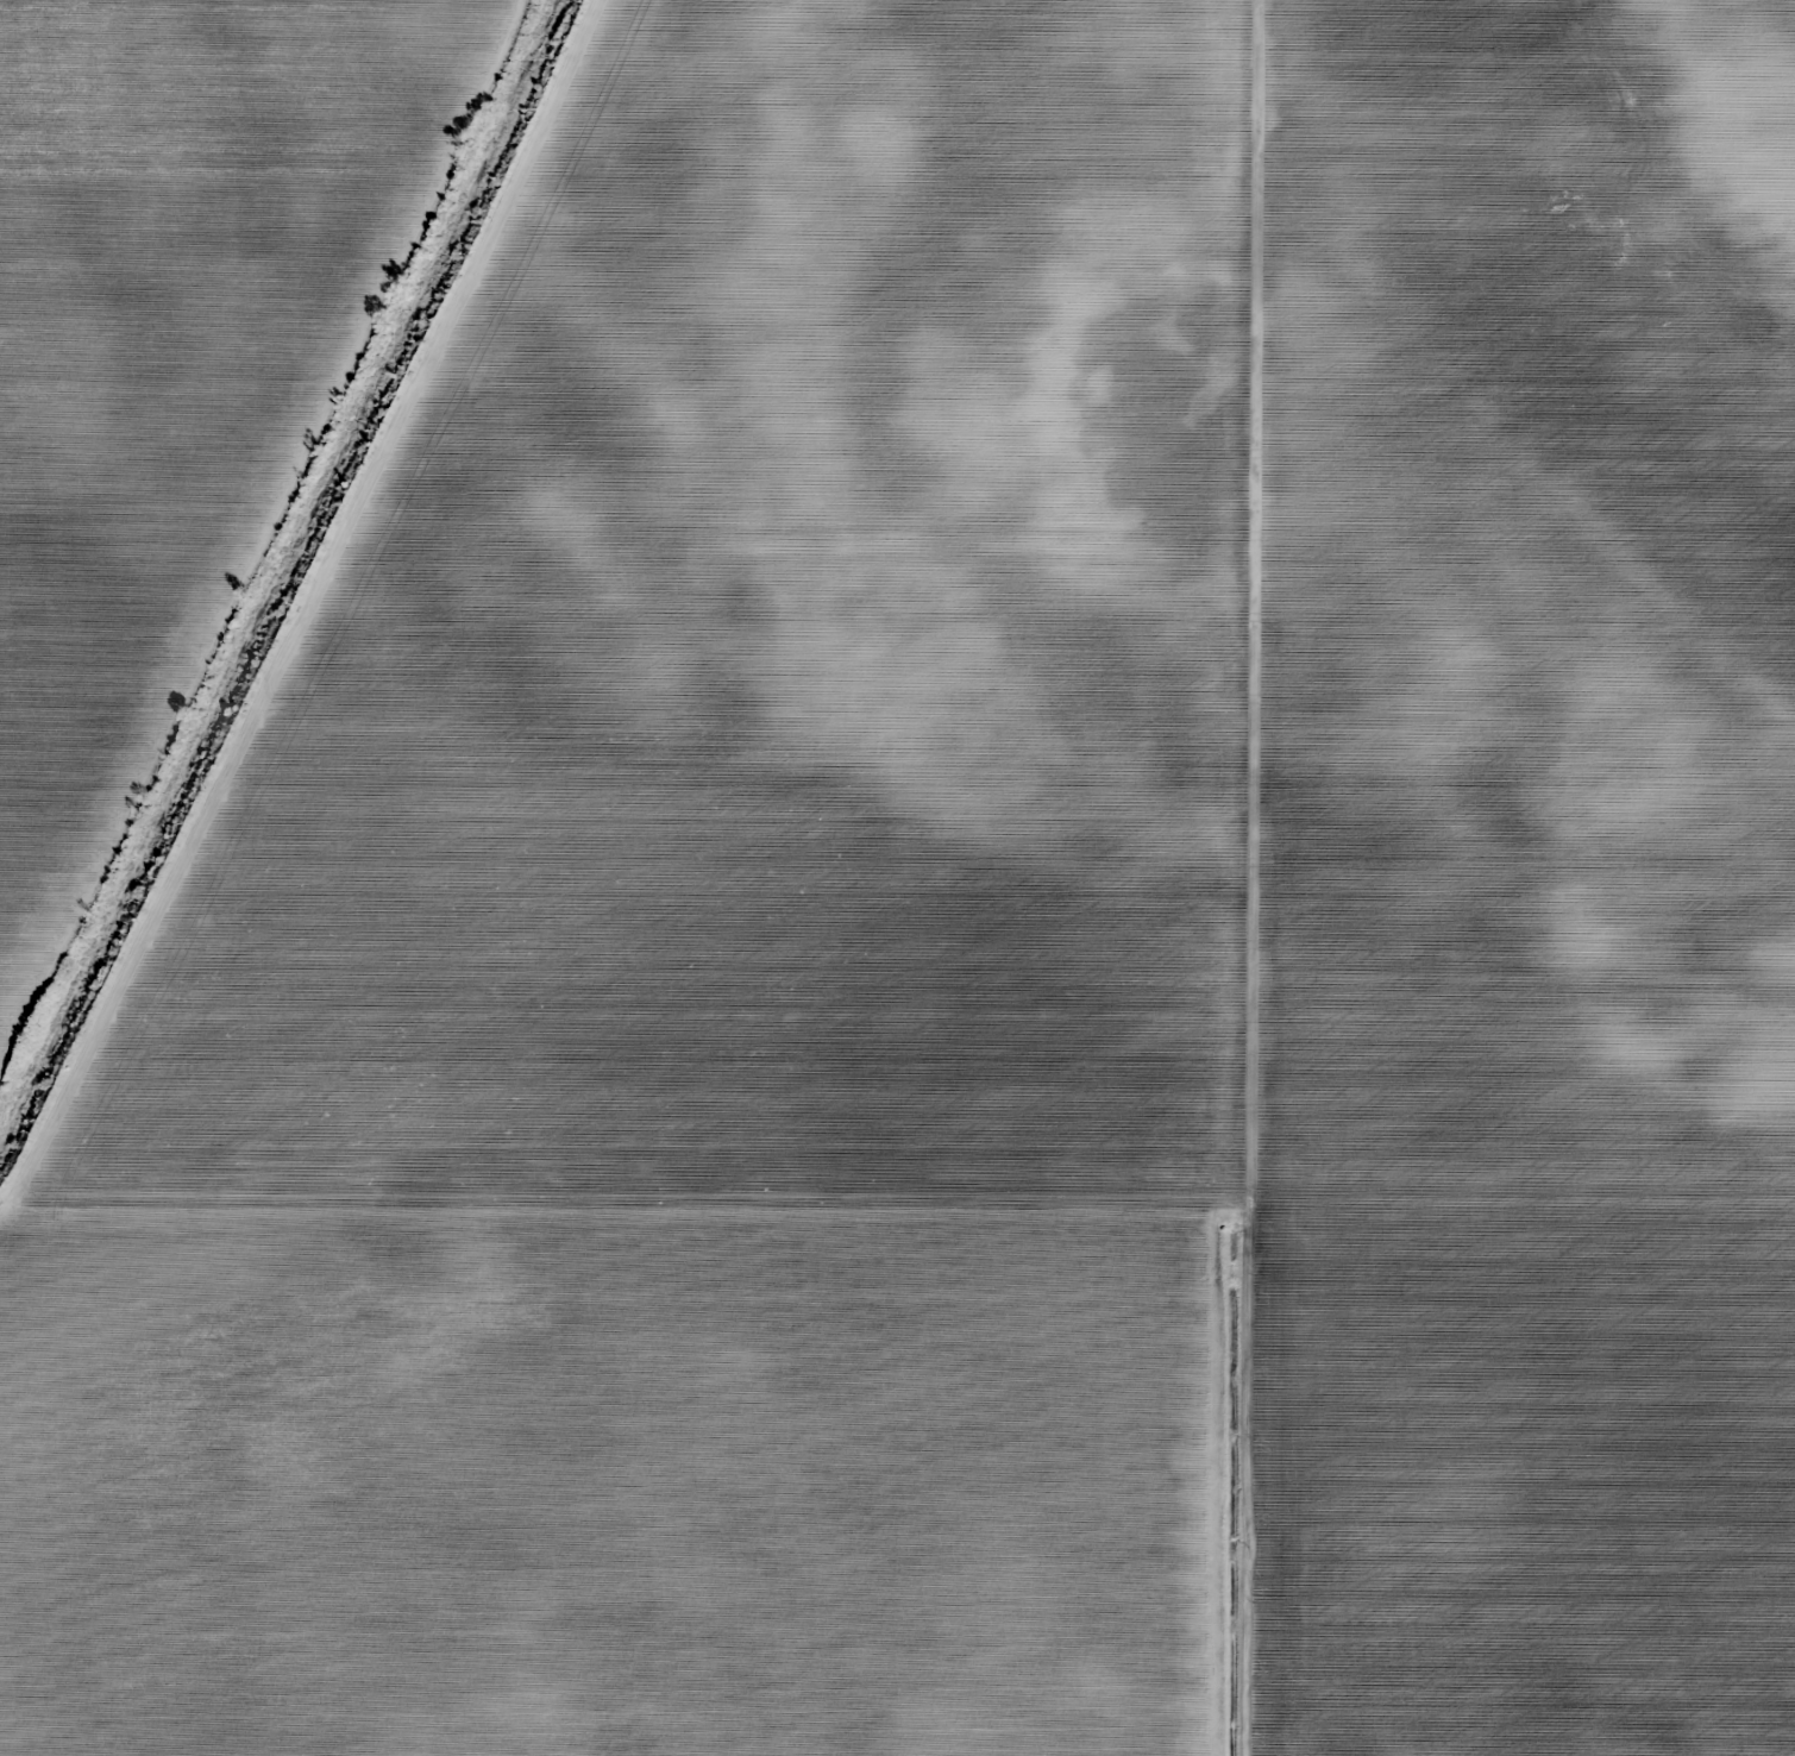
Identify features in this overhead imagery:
road: (1222, 1511)

